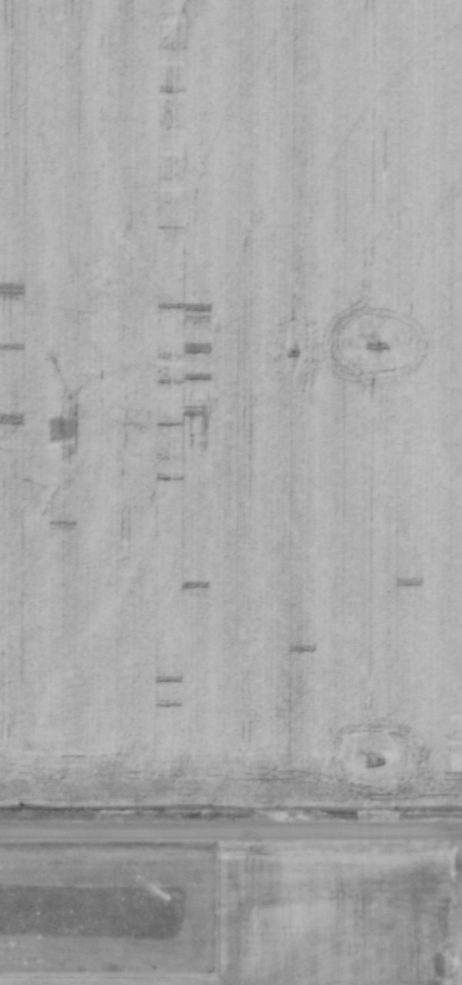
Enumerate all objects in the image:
power tower: (375, 344)
power tower: (374, 759)
road: (230, 829)

